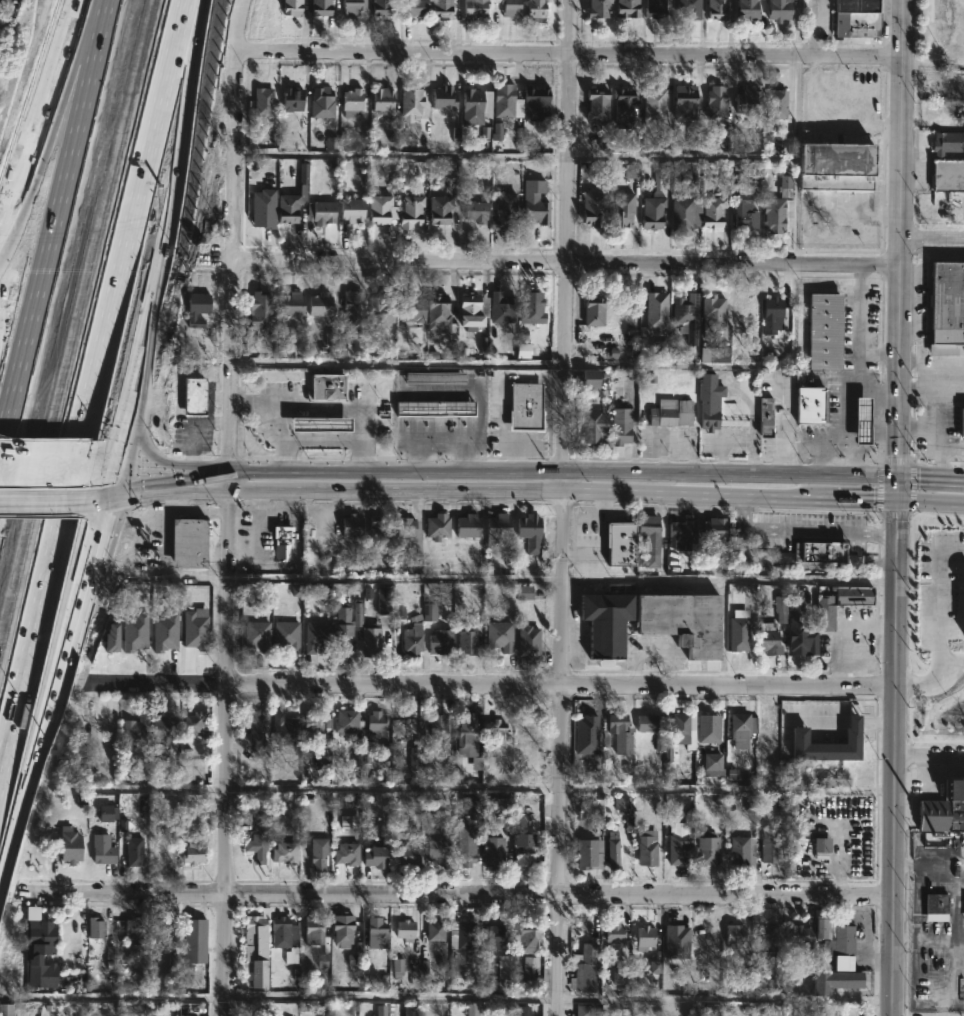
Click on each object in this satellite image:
building: (0, 0)
building: (291, 7)
building: (320, 7)
building: (353, 7)
building: (381, 8)
building: (414, 8)
building: (441, 8)
building: (475, 8)
building: (510, 8)
building: (627, 8)
building: (598, 9)
building: (655, 9)
building: (688, 9)
building: (717, 9)
building: (535, 10)
building: (747, 10)
building: (778, 10)
building: (857, 18)
road: (4, 36)
road: (569, 56)
road: (933, 65)
building: (443, 98)
building: (291, 100)
building: (381, 100)
building: (749, 101)
building: (263, 102)
building: (351, 102)
building: (410, 102)
building: (507, 102)
building: (716, 102)
building: (321, 103)
building: (536, 103)
building: (684, 103)
road: (34, 104)
building: (654, 104)
building: (777, 104)
building: (476, 105)
building: (596, 105)
building: (625, 107)
road: (824, 127)
building: (694, 138)
building: (726, 139)
building: (331, 143)
building: (948, 143)
building: (771, 144)
road: (402, 152)
building: (835, 164)
building: (451, 171)
building: (631, 171)
building: (724, 171)
building: (948, 176)
building: (744, 186)
road: (48, 191)
building: (293, 199)
building: (655, 200)
building: (536, 201)
road: (137, 202)
building: (592, 208)
building: (622, 209)
building: (351, 210)
building: (381, 210)
building: (411, 210)
building: (439, 210)
building: (322, 212)
building: (475, 212)
building: (504, 212)
building: (715, 212)
building: (682, 213)
building: (745, 213)
building: (773, 215)
road: (932, 240)
road: (166, 246)
road: (567, 262)
building: (289, 304)
building: (320, 305)
building: (382, 308)
building: (501, 308)
building: (196, 309)
building: (531, 309)
building: (947, 309)
building: (412, 310)
building: (685, 310)
building: (260, 311)
building: (656, 311)
building: (713, 311)
building: (353, 312)
building: (471, 312)
building: (593, 312)
building: (437, 313)
building: (773, 315)
road: (88, 326)
building: (824, 332)
road: (878, 353)
building: (714, 354)
road: (854, 375)
building: (434, 378)
building: (589, 379)
road: (873, 384)
building: (325, 385)
road: (919, 386)
building: (193, 397)
road: (940, 401)
building: (709, 402)
building: (809, 404)
building: (433, 407)
building: (523, 407)
road: (326, 408)
building: (673, 414)
building: (765, 417)
road: (873, 417)
building: (859, 419)
gas station: (859, 419)
building: (317, 423)
gas station: (317, 423)
building: (963, 424)
building: (622, 426)
road: (919, 426)
building: (596, 427)
road: (280, 438)
road: (319, 441)
road: (145, 449)
road: (854, 450)
road: (894, 461)
road: (46, 465)
traffic signals: (122, 465)
road: (494, 468)
road: (67, 474)
traffic signals: (896, 477)
road: (930, 478)
road: (910, 487)
road: (878, 488)
road: (42, 492)
traffic signals: (121, 492)
road: (171, 492)
road: (534, 493)
road: (853, 500)
road: (290, 502)
traffic signals: (895, 502)
road: (929, 502)
road: (232, 507)
road: (561, 507)
road: (895, 507)
road: (204, 510)
road: (261, 510)
road: (893, 514)
building: (350, 525)
building: (467, 525)
building: (405, 526)
building: (437, 526)
building: (497, 527)
building: (377, 528)
building: (714, 528)
building: (529, 530)
road: (802, 531)
road: (257, 536)
building: (683, 536)
road: (162, 540)
building: (649, 540)
building: (187, 543)
building: (281, 543)
building: (621, 543)
building: (818, 549)
road: (799, 566)
road: (562, 581)
building: (840, 600)
building: (962, 607)
road: (938, 608)
building: (682, 619)
building: (604, 620)
building: (342, 622)
road: (837, 625)
building: (407, 632)
building: (256, 634)
building: (286, 635)
building: (316, 635)
building: (499, 635)
building: (798, 637)
building: (371, 638)
building: (198, 640)
building: (439, 641)
building: (467, 641)
building: (528, 641)
building: (769, 641)
building: (165, 644)
building: (137, 649)
road: (25, 652)
road: (56, 679)
road: (932, 681)
road: (494, 683)
building: (345, 721)
building: (374, 721)
building: (194, 722)
building: (647, 722)
road: (821, 722)
building: (105, 723)
road: (852, 723)
road: (876, 724)
building: (407, 725)
building: (437, 725)
building: (312, 726)
building: (163, 727)
building: (680, 727)
building: (708, 728)
building: (742, 728)
building: (284, 729)
building: (466, 729)
building: (135, 731)
building: (259, 731)
building: (494, 732)
building: (620, 732)
building: (826, 744)
building: (527, 753)
road: (929, 757)
building: (835, 782)
road: (559, 788)
building: (622, 804)
building: (497, 807)
building: (944, 809)
building: (257, 838)
building: (69, 845)
building: (648, 847)
building: (821, 847)
building: (678, 848)
building: (707, 848)
building: (771, 848)
building: (102, 849)
building: (437, 849)
building: (744, 850)
building: (193, 851)
building: (465, 851)
building: (492, 851)
building: (284, 852)
building: (313, 852)
building: (613, 852)
building: (346, 853)
building: (523, 853)
building: (589, 853)
building: (133, 854)
building: (376, 856)
building: (404, 857)
road: (494, 892)
building: (934, 907)
road: (955, 918)
building: (94, 927)
building: (312, 927)
building: (161, 928)
building: (195, 928)
building: (136, 929)
building: (405, 929)
building: (435, 930)
building: (342, 932)
building: (615, 932)
building: (375, 933)
building: (799, 933)
building: (734, 934)
building: (465, 935)
building: (676, 935)
building: (285, 936)
building: (495, 936)
building: (644, 936)
building: (766, 937)
building: (528, 941)
building: (843, 944)
building: (255, 949)
building: (39, 953)
building: (584, 968)
building: (522, 971)
building: (488, 979)
building: (836, 980)
road: (456, 997)
building: (5, 1010)
building: (382, 1010)
building: (711, 1010)
building: (410, 1011)
building: (583, 1011)
building: (819, 1013)

